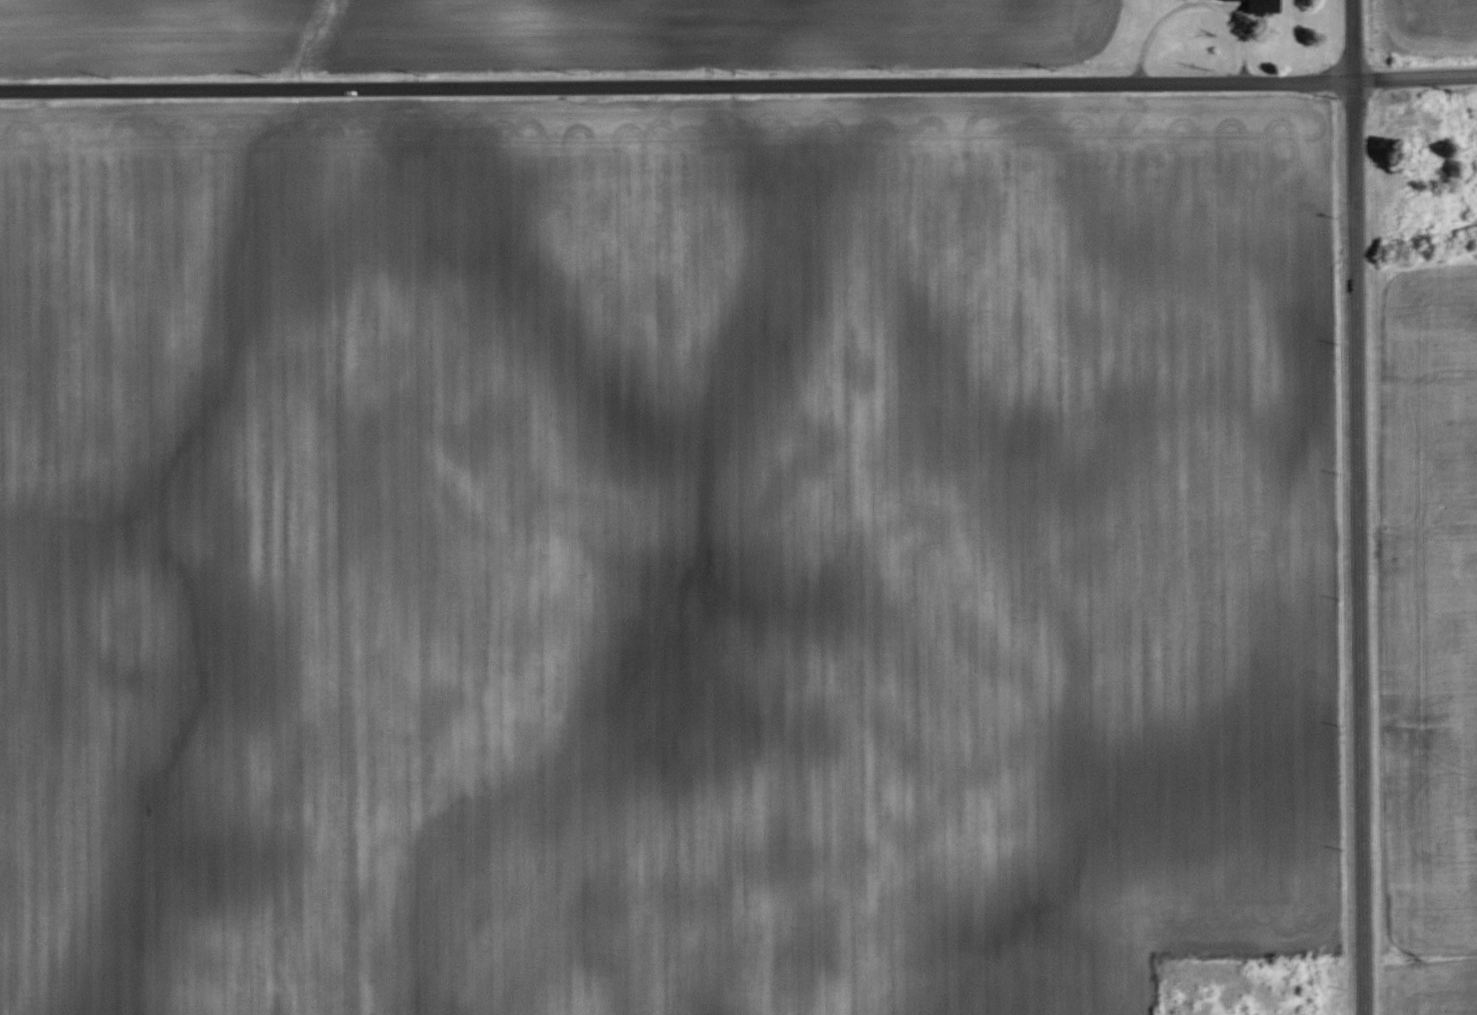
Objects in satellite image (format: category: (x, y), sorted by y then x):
building: (1263, 6)
road: (1141, 30)
road: (1236, 34)
road: (738, 85)
building: (1405, 122)
road: (1358, 507)

